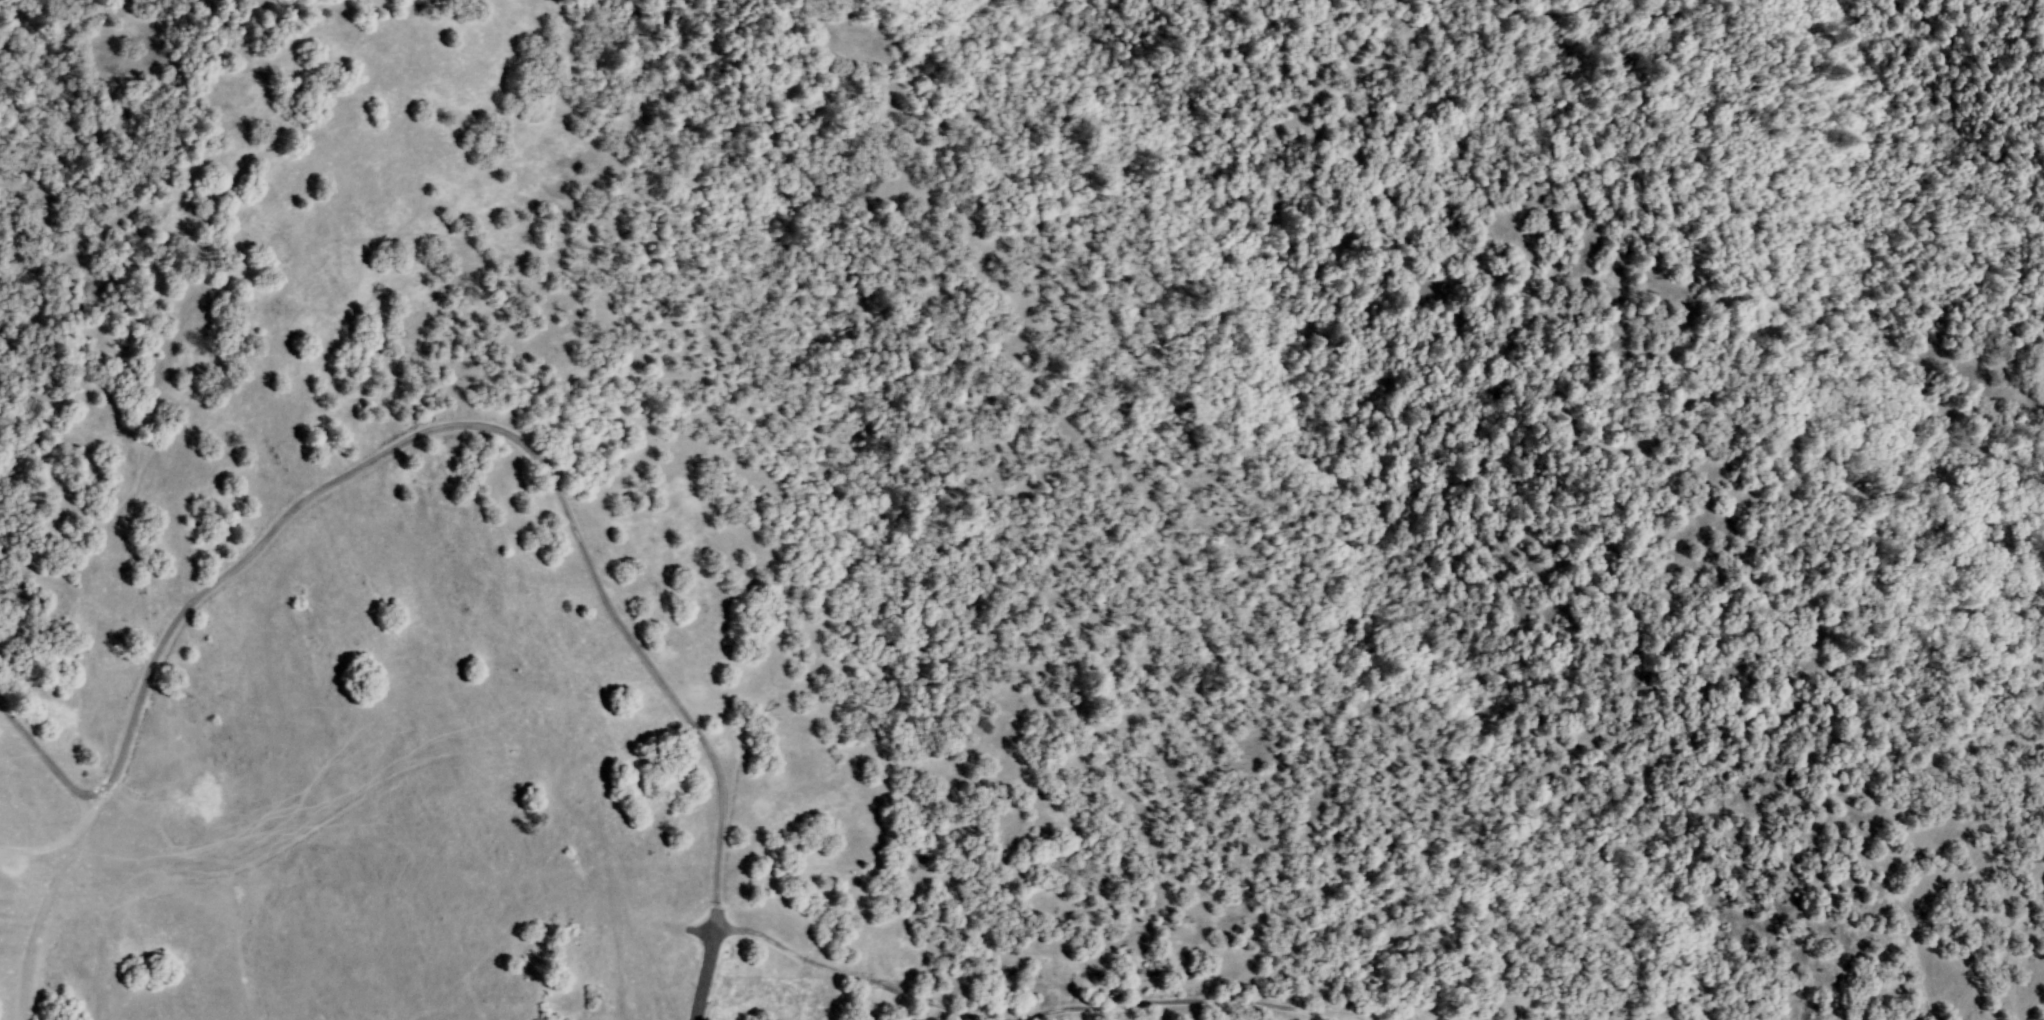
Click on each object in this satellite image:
road: (533, 455)
road: (47, 766)
road: (45, 897)

